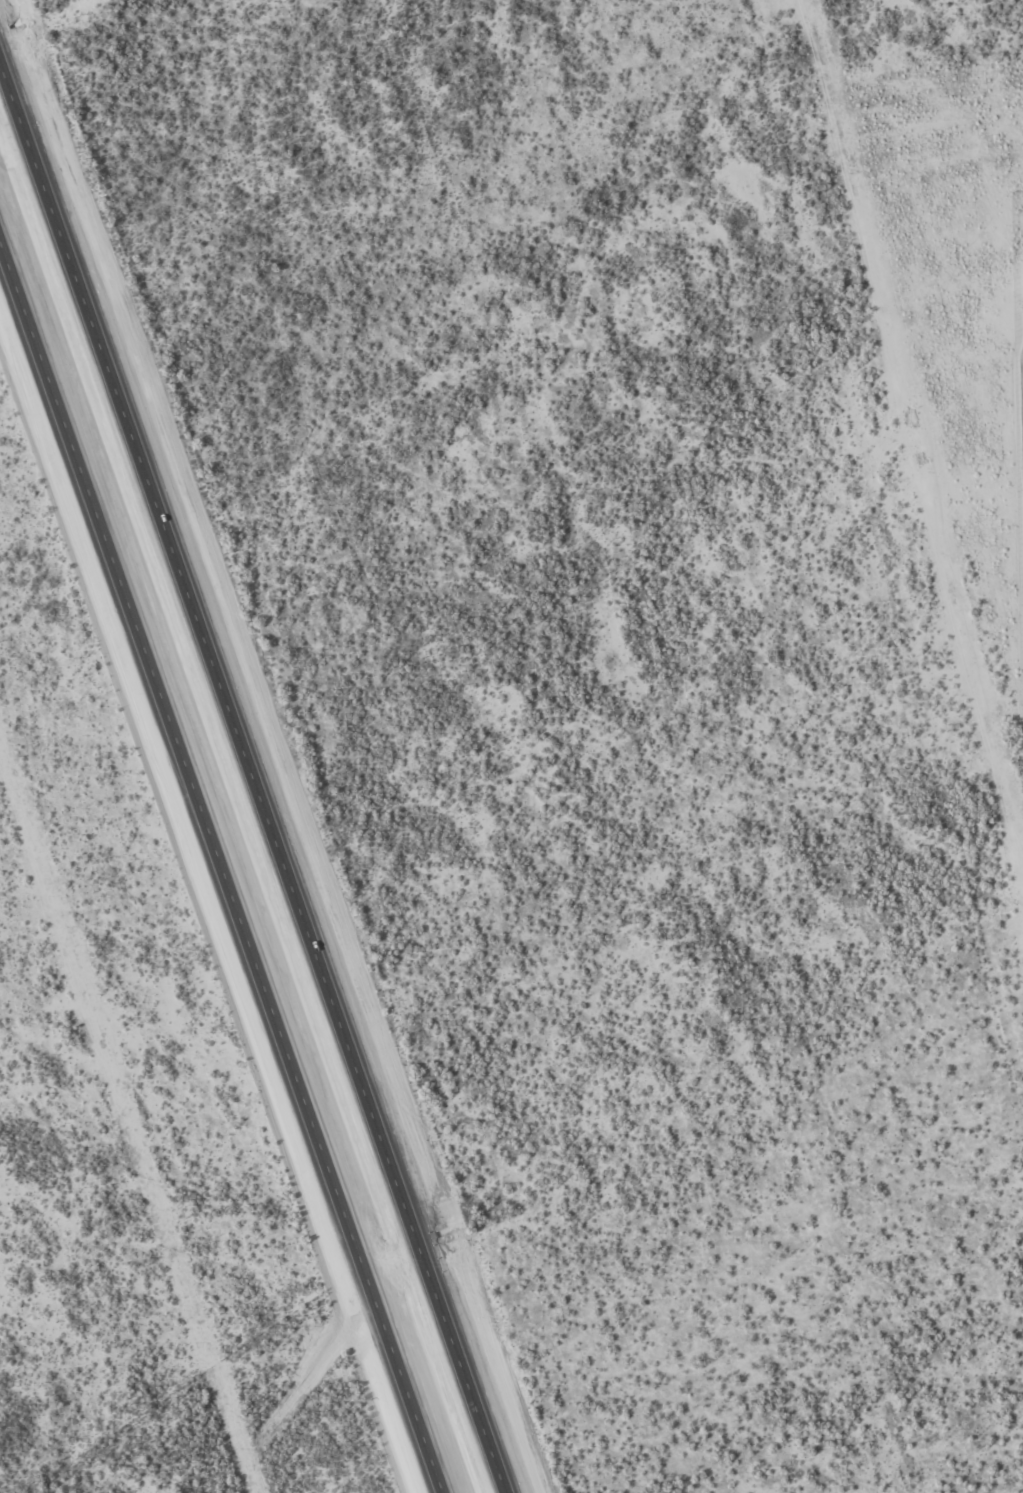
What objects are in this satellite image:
road: (254, 775)

